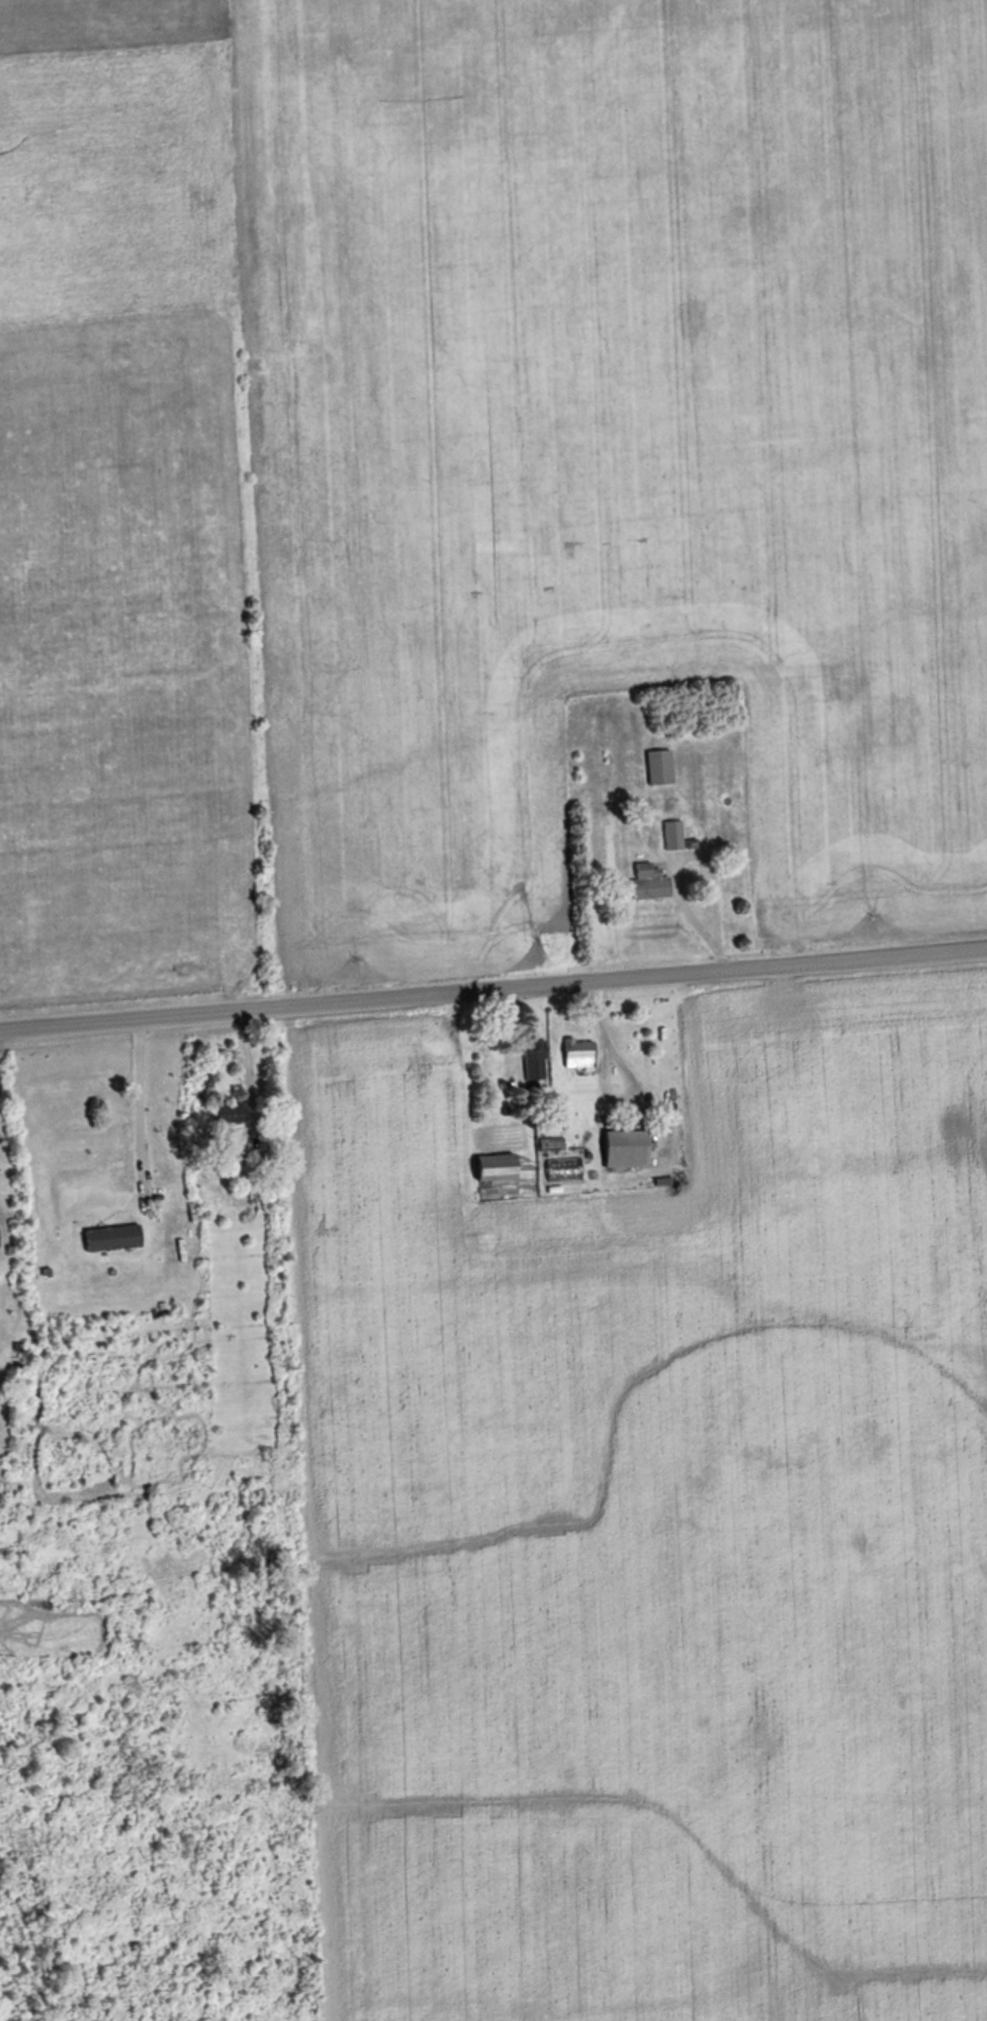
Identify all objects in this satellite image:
building: (662, 767)
building: (676, 834)
building: (652, 882)
road: (493, 991)
building: (581, 1054)
building: (538, 1060)
road: (141, 1106)
building: (232, 1114)
building: (554, 1144)
building: (631, 1149)
building: (501, 1167)
building: (115, 1238)
building: (0, 1239)

